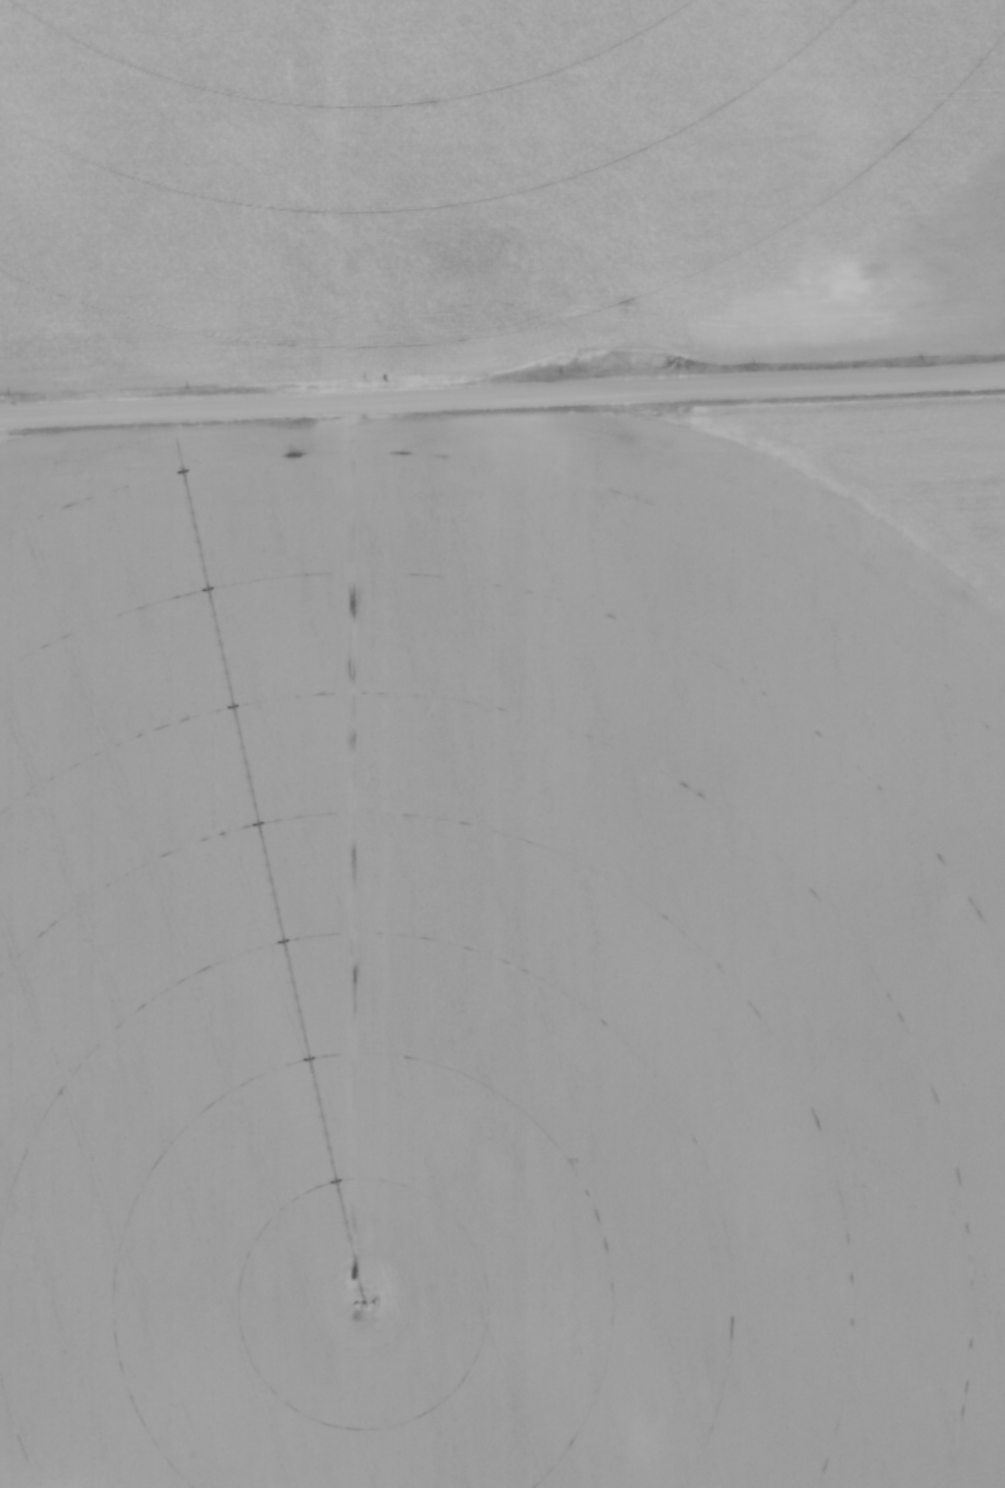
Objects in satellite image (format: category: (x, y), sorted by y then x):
road: (502, 398)

